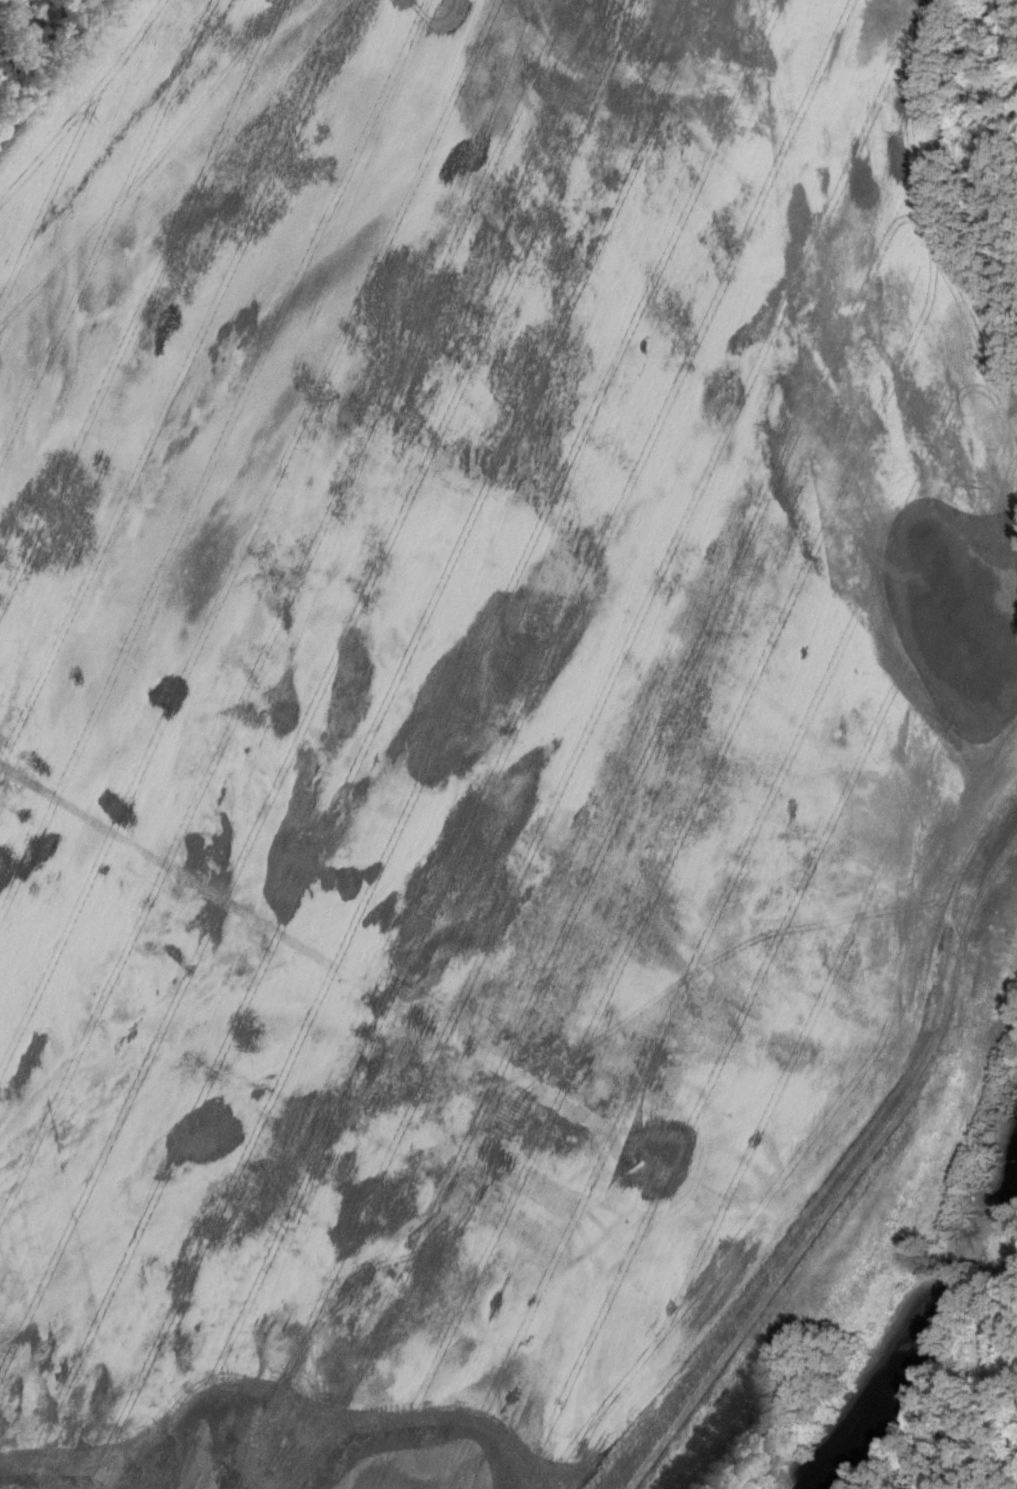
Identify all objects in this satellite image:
crop: (463, 703)
road: (846, 1178)

